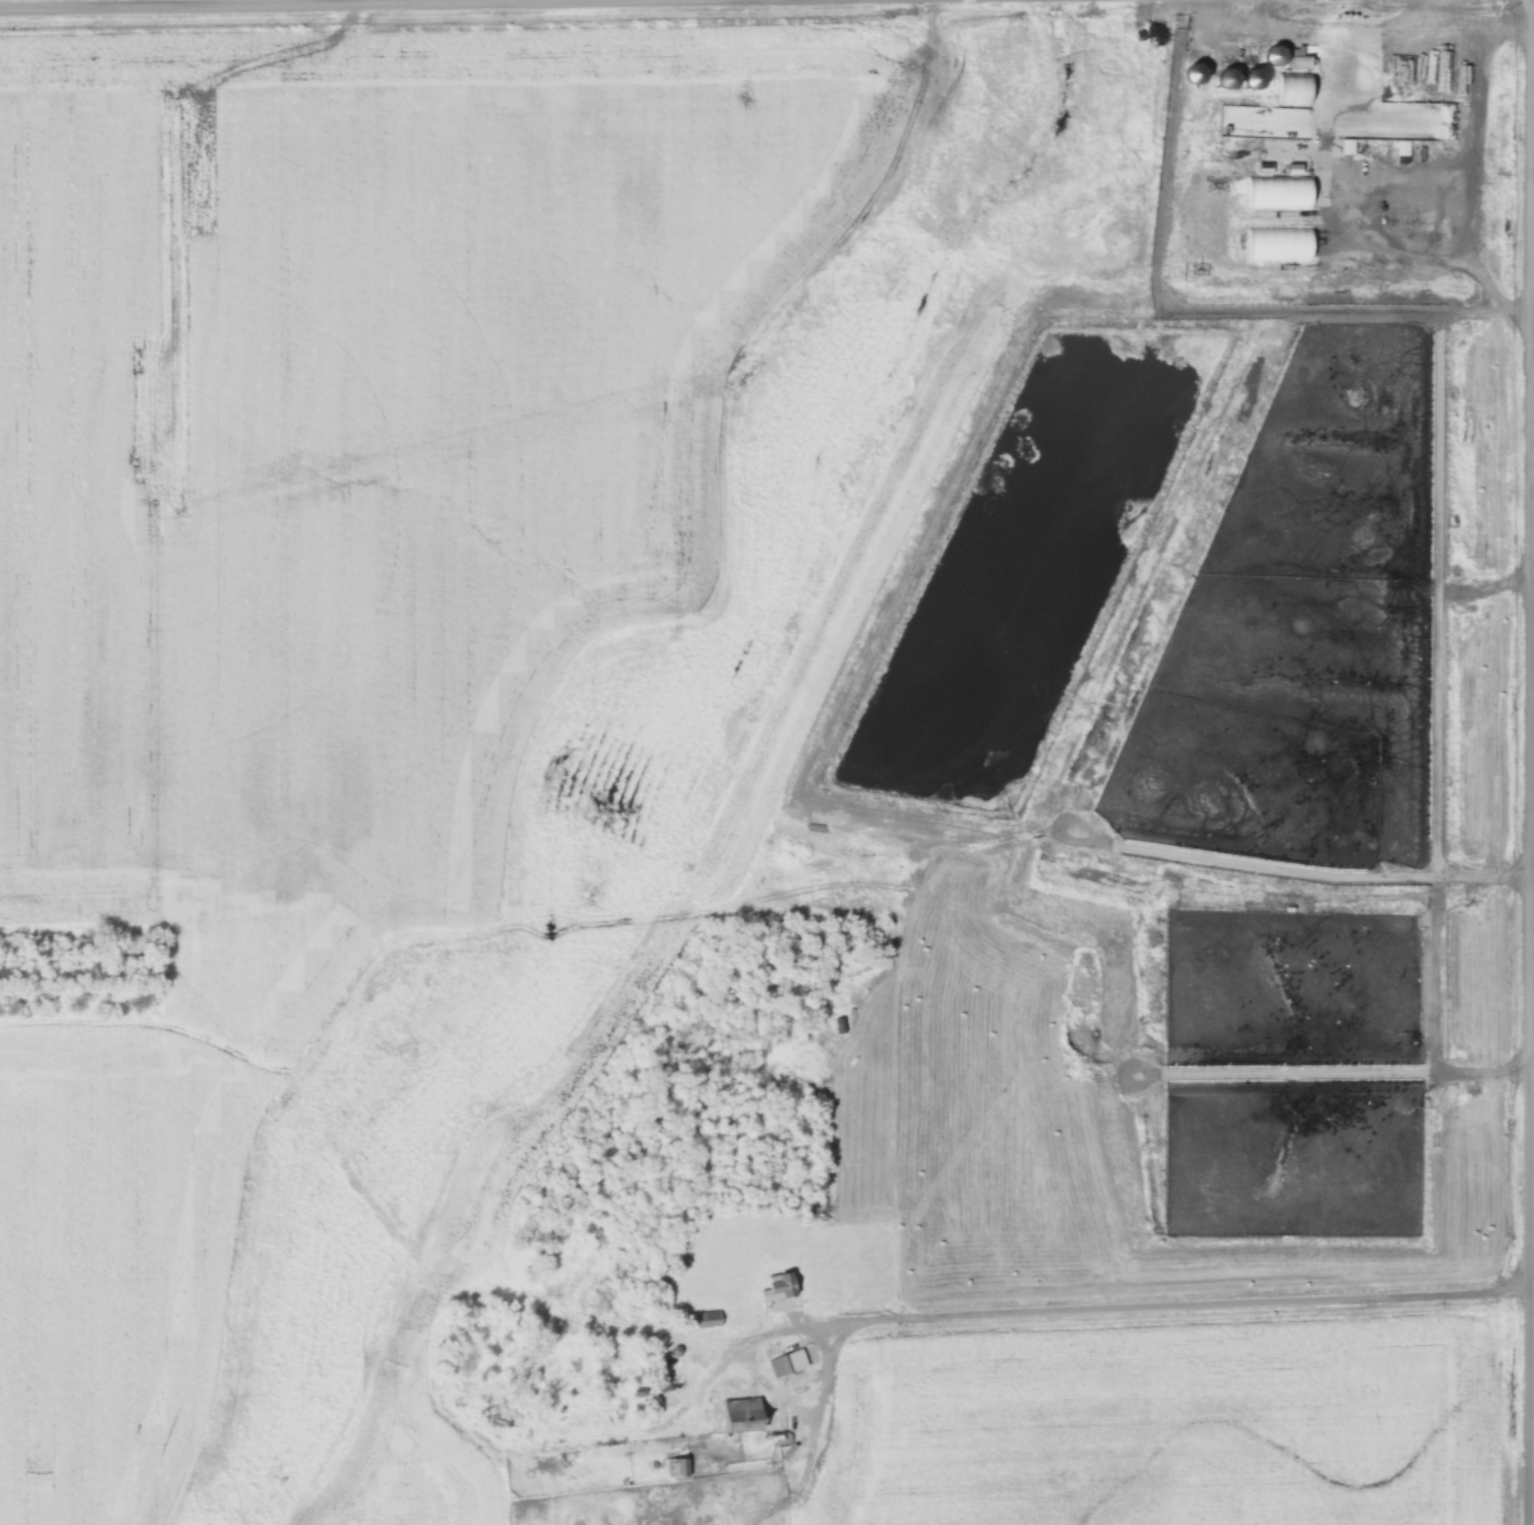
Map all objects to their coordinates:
road: (384, 4)
road: (1419, 14)
road: (1376, 29)
building: (1275, 54)
building: (1298, 57)
building: (1255, 77)
building: (1229, 79)
road: (1350, 232)
road: (1530, 762)
building: (777, 1288)
road: (1155, 1305)
building: (707, 1319)
building: (786, 1363)
building: (660, 1380)
building: (741, 1415)

